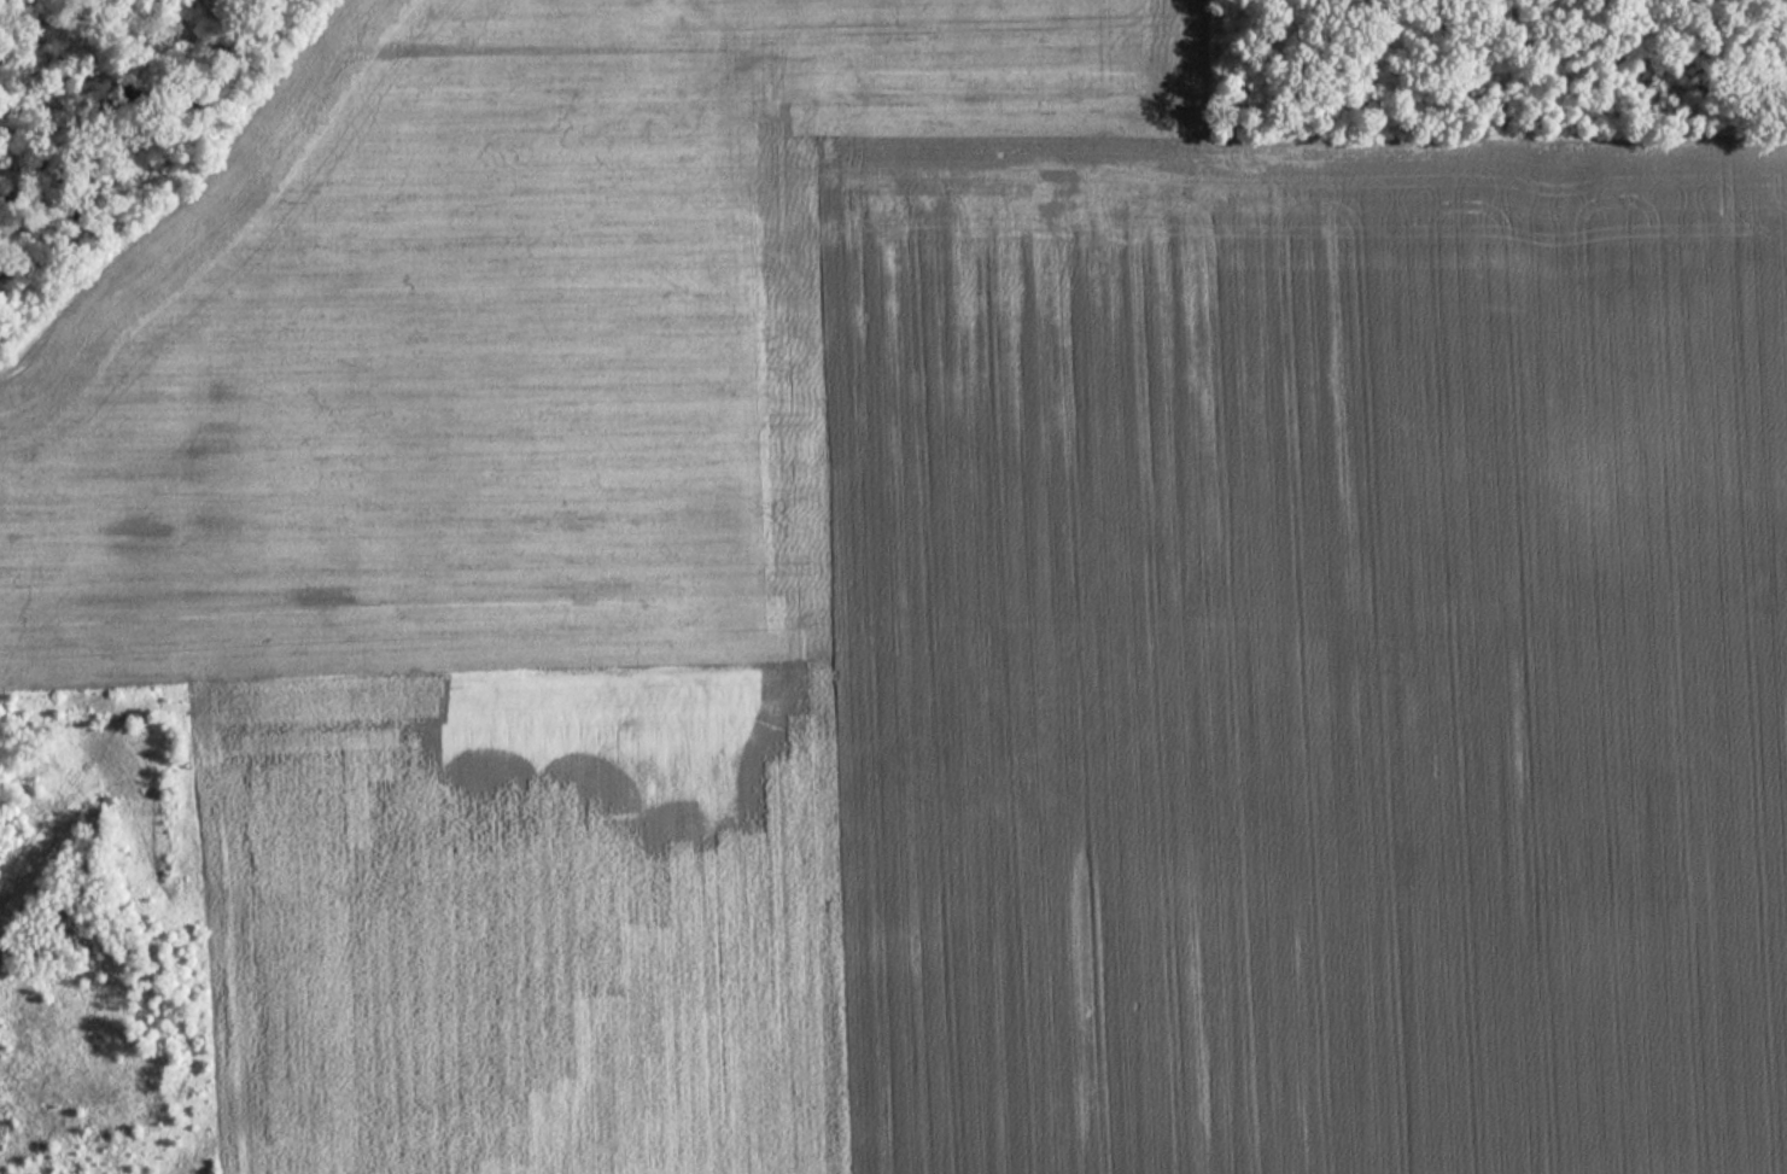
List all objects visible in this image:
crop: (930, 612)

